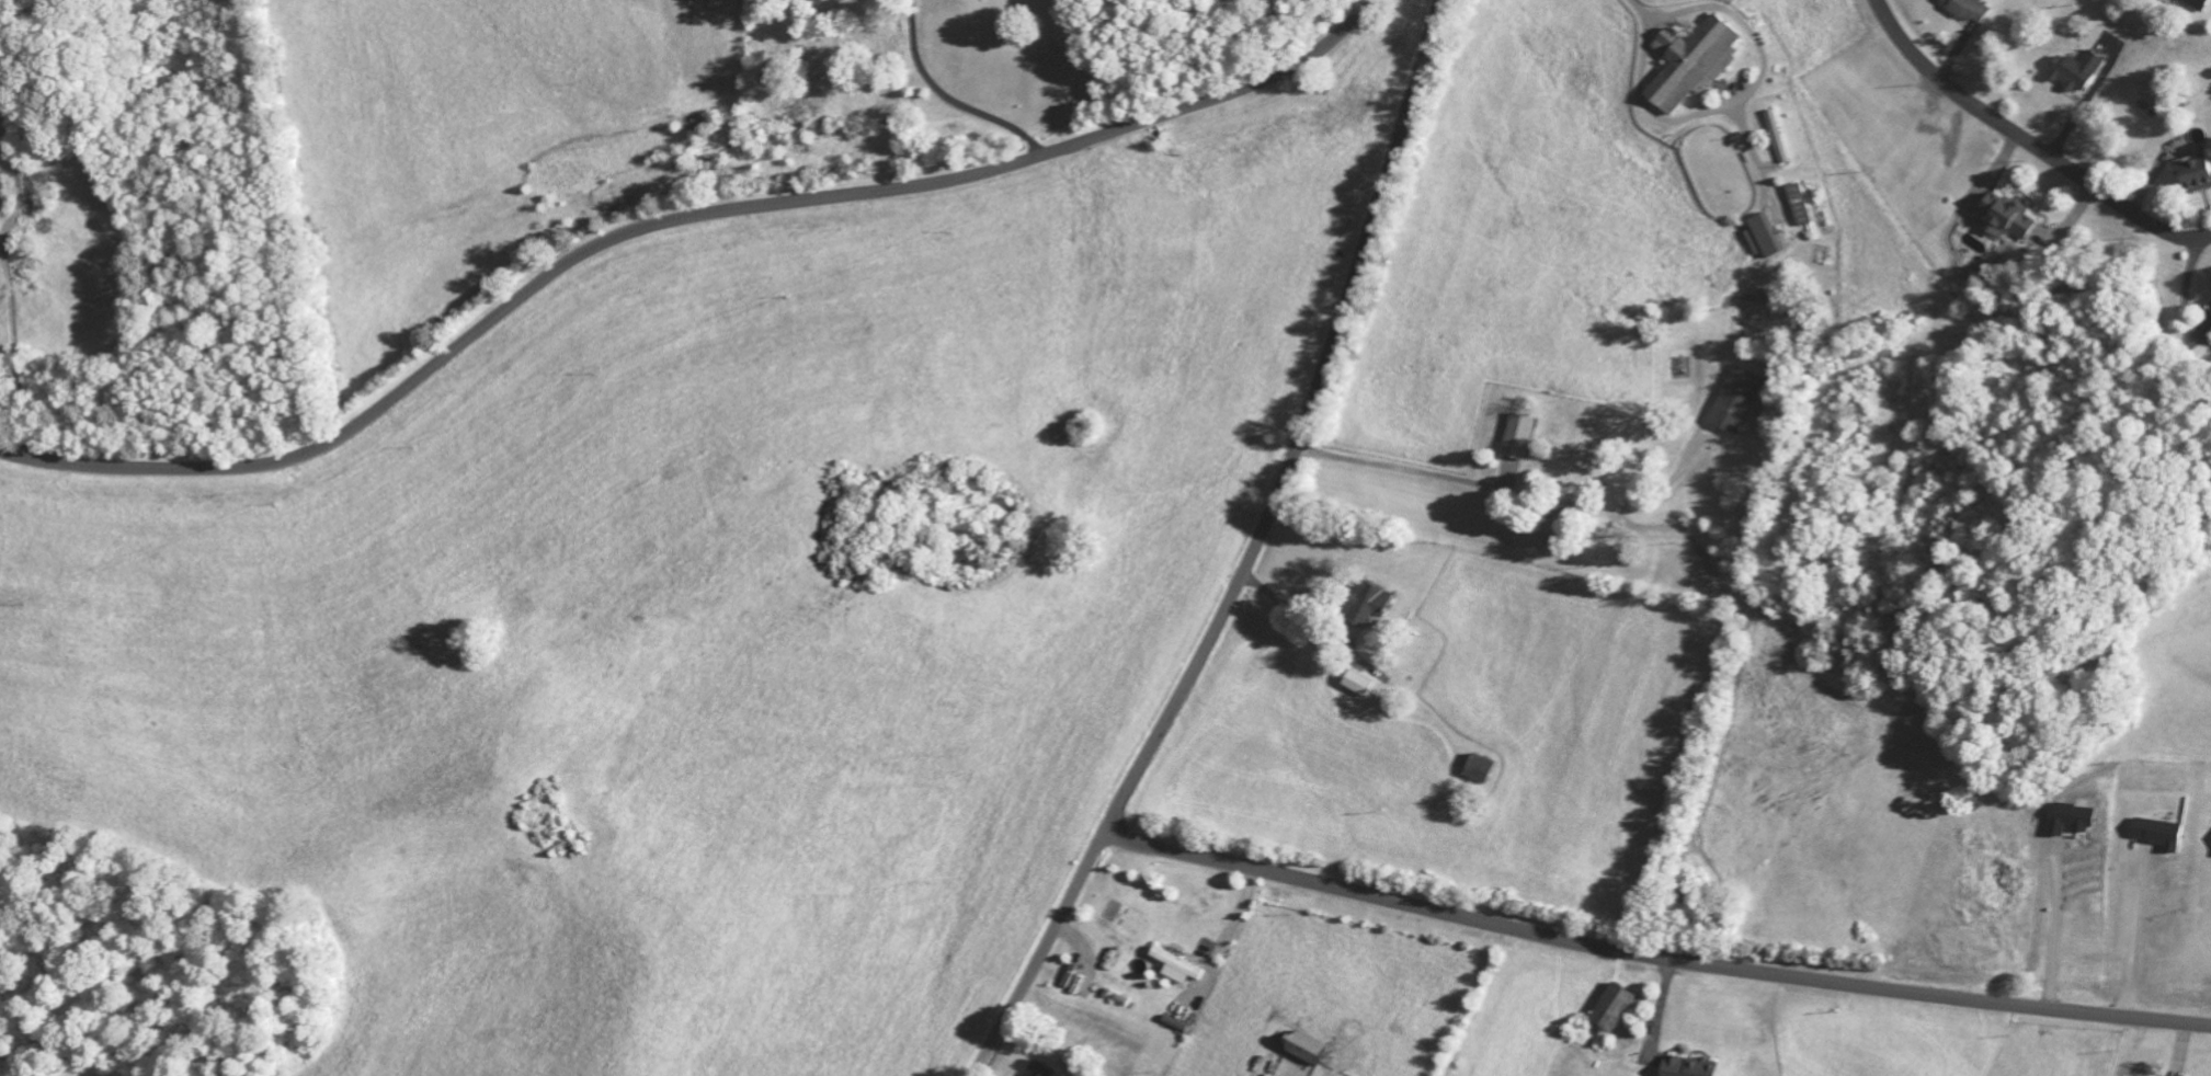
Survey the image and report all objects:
building: (2191, 4)
building: (1962, 11)
building: (1685, 67)
building: (2068, 73)
building: (1773, 139)
road: (2029, 141)
building: (2190, 178)
building: (1793, 207)
building: (1998, 218)
road: (671, 219)
building: (1756, 237)
building: (2208, 312)
building: (1730, 403)
building: (1514, 439)
road: (1252, 557)
building: (1359, 686)
building: (1482, 772)
building: (2153, 837)
road: (1653, 957)
building: (1176, 971)
building: (1606, 1011)
building: (1309, 1054)
building: (1683, 1068)
building: (1039, 1072)

